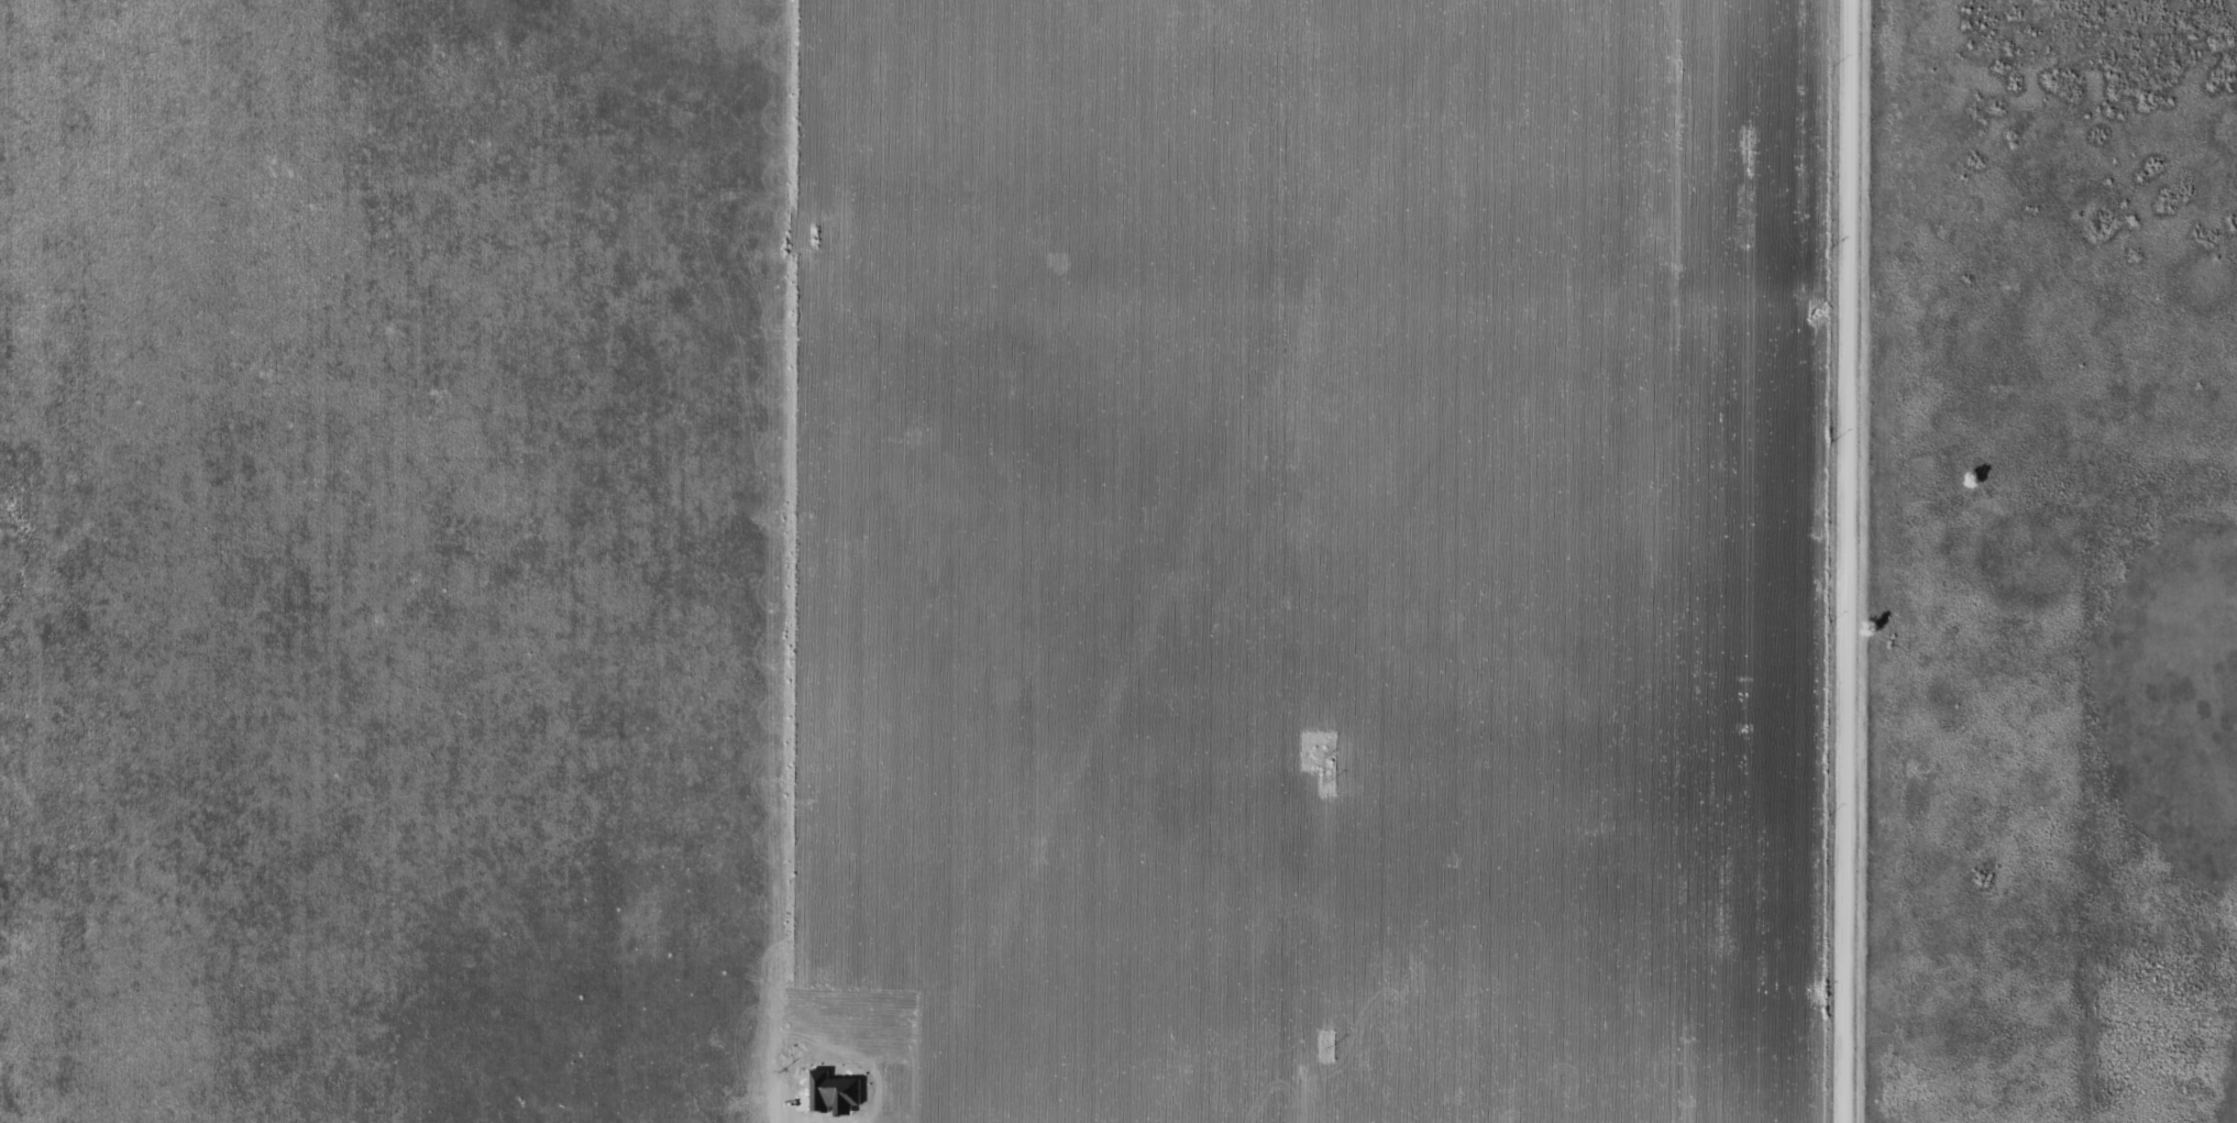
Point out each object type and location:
road: (1849, 561)

